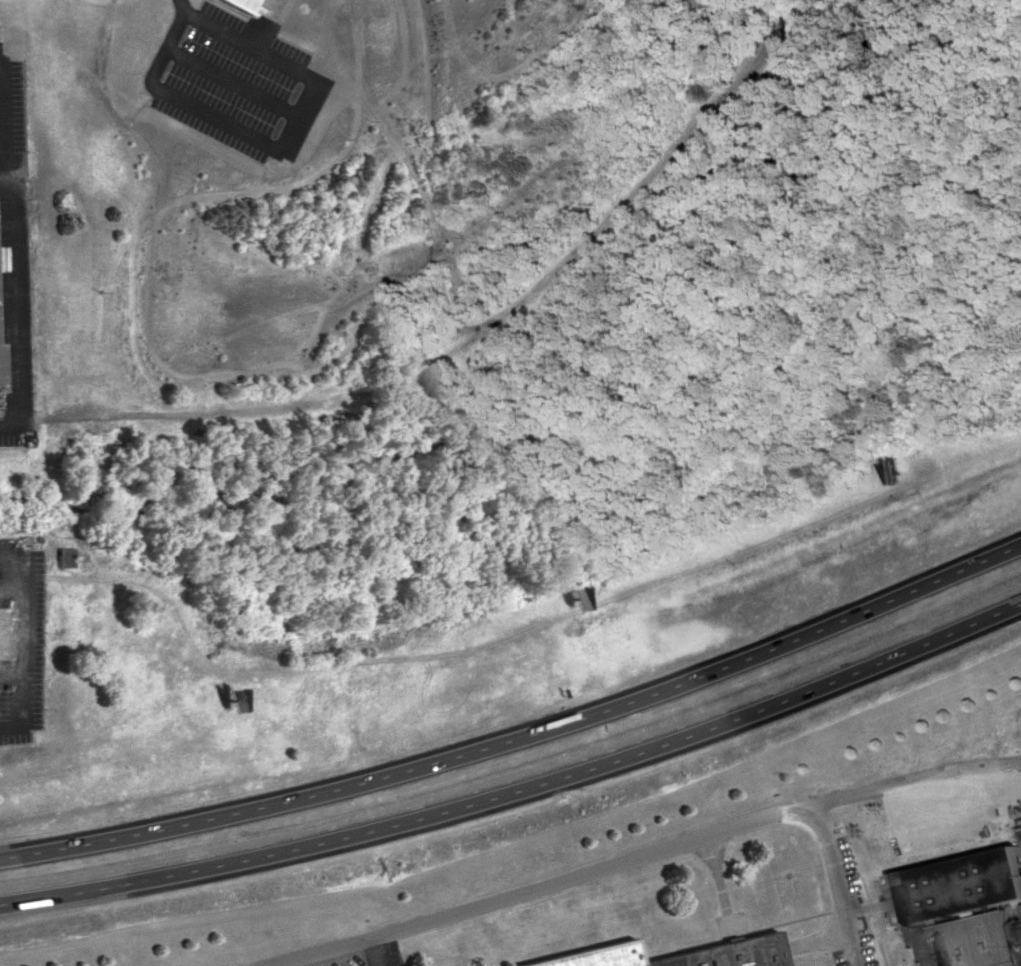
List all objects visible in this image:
building: (239, 5)
road: (182, 7)
road: (0, 103)
road: (2, 124)
road: (1, 144)
road: (280, 147)
road: (14, 305)
building: (2, 370)
road: (8, 426)
building: (63, 555)
road: (11, 561)
road: (11, 591)
building: (7, 634)
road: (24, 643)
road: (13, 677)
road: (14, 727)
road: (521, 736)
road: (520, 786)
road: (837, 798)
road: (543, 885)
building: (961, 906)
road: (371, 952)
building: (661, 954)

